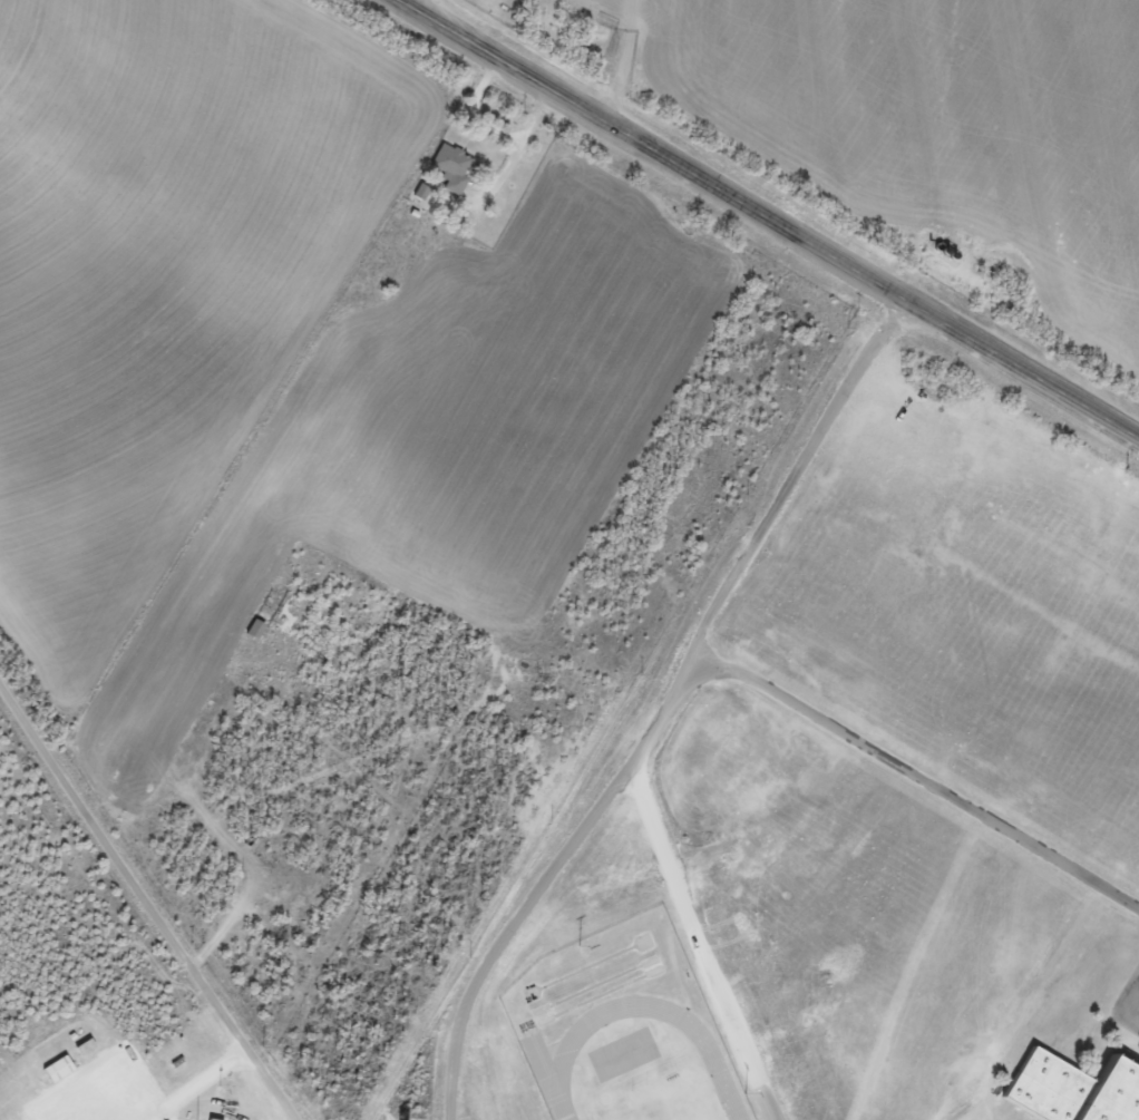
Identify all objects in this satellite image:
building: (451, 166)
road: (714, 207)
road: (1103, 436)
building: (255, 629)
road: (659, 715)
road: (913, 772)
road: (137, 913)
road: (700, 942)
road: (1121, 999)
track: (650, 1003)
parking lot: (1137, 1006)
building: (58, 1069)
track: (546, 1078)
building: (1074, 1083)

